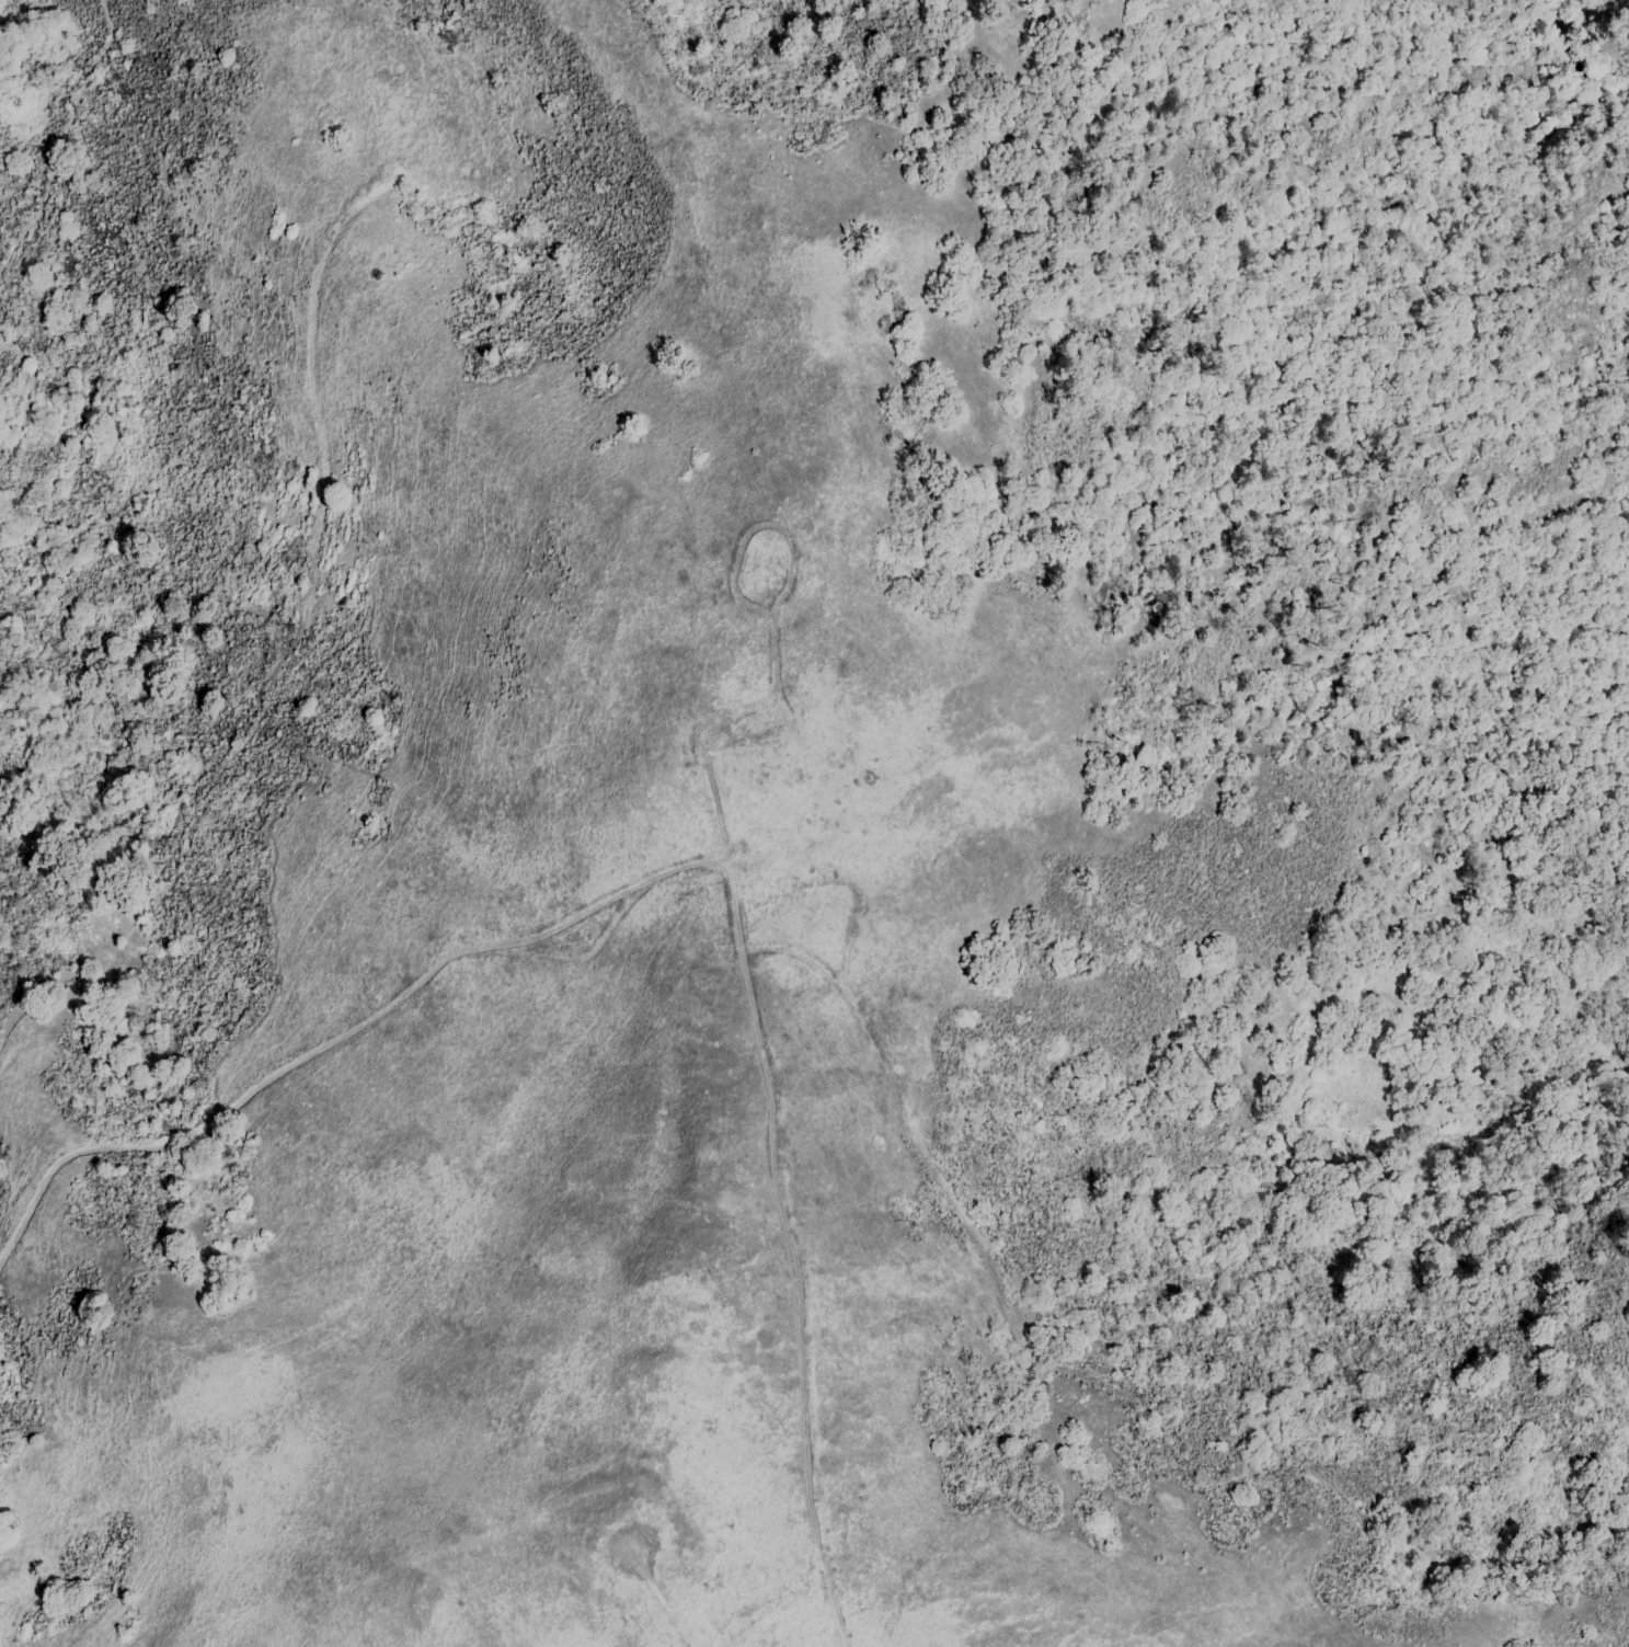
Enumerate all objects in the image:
road: (64, 136)
road: (27, 396)
park: (1466, 478)
park: (116, 877)

